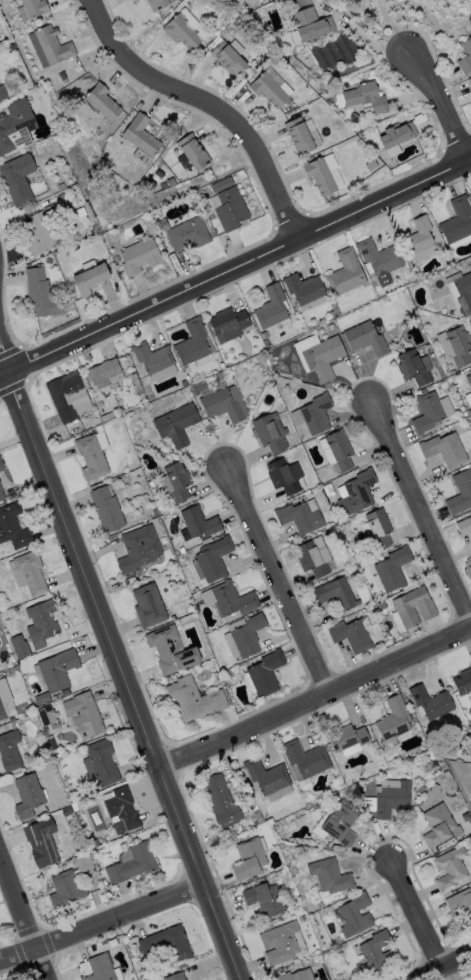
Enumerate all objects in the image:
building: (180, 0)
building: (157, 4)
building: (35, 7)
building: (238, 22)
building: (311, 25)
building: (182, 32)
building: (53, 45)
building: (10, 47)
building: (465, 57)
building: (229, 59)
building: (61, 77)
building: (277, 80)
building: (269, 90)
building: (470, 90)
building: (2, 93)
building: (366, 97)
road: (436, 99)
building: (102, 101)
road: (210, 103)
building: (16, 127)
building: (355, 128)
building: (361, 134)
building: (397, 134)
building: (141, 135)
building: (299, 136)
building: (193, 152)
building: (371, 165)
building: (241, 172)
building: (320, 176)
building: (17, 179)
building: (171, 182)
building: (222, 184)
building: (163, 185)
building: (62, 186)
building: (470, 191)
building: (231, 209)
building: (457, 221)
building: (42, 234)
building: (188, 235)
building: (418, 236)
building: (459, 241)
building: (139, 256)
building: (380, 257)
building: (115, 258)
building: (49, 260)
road: (240, 263)
building: (346, 273)
building: (90, 279)
building: (304, 288)
building: (464, 293)
building: (42, 294)
building: (271, 308)
building: (451, 313)
building: (334, 314)
building: (229, 323)
building: (331, 326)
building: (403, 326)
building: (264, 335)
building: (366, 338)
building: (193, 342)
building: (266, 343)
building: (459, 345)
road: (5, 357)
building: (152, 357)
building: (323, 358)
building: (223, 367)
building: (415, 367)
building: (104, 373)
road: (5, 374)
building: (134, 379)
building: (469, 379)
building: (198, 387)
building: (67, 395)
building: (222, 406)
building: (469, 412)
building: (428, 413)
building: (316, 414)
building: (105, 418)
building: (470, 419)
building: (176, 424)
building: (99, 428)
building: (271, 433)
building: (100, 439)
building: (340, 450)
building: (444, 450)
building: (91, 458)
building: (1, 466)
building: (285, 476)
building: (178, 481)
building: (315, 481)
building: (328, 490)
building: (461, 492)
building: (357, 493)
building: (1, 495)
building: (107, 509)
road: (423, 509)
building: (300, 517)
building: (199, 523)
building: (464, 526)
building: (13, 527)
building: (379, 528)
building: (139, 548)
building: (214, 559)
building: (311, 559)
building: (470, 562)
building: (393, 568)
building: (31, 572)
road: (282, 579)
building: (196, 589)
building: (336, 593)
building: (233, 599)
building: (149, 605)
building: (382, 606)
building: (414, 607)
building: (4, 615)
building: (42, 621)
building: (248, 635)
building: (351, 635)
building: (20, 646)
building: (170, 651)
building: (58, 670)
building: (266, 673)
road: (127, 676)
building: (463, 682)
building: (42, 698)
building: (55, 698)
road: (316, 698)
building: (194, 699)
building: (431, 702)
building: (2, 711)
building: (84, 715)
building: (361, 716)
building: (48, 717)
building: (11, 719)
building: (394, 719)
building: (45, 731)
building: (348, 738)
building: (463, 738)
building: (51, 742)
building: (373, 744)
building: (10, 751)
building: (306, 758)
building: (103, 762)
building: (446, 773)
building: (266, 776)
building: (421, 789)
building: (434, 789)
building: (28, 795)
building: (352, 795)
building: (392, 799)
building: (222, 802)
building: (122, 808)
building: (67, 812)
building: (258, 817)
building: (342, 823)
building: (438, 825)
building: (242, 827)
building: (42, 842)
building: (123, 847)
building: (249, 859)
building: (84, 863)
building: (133, 864)
building: (450, 868)
building: (330, 876)
building: (66, 889)
building: (265, 899)
building: (461, 903)
road: (417, 913)
building: (355, 915)
road: (25, 916)
road: (103, 921)
building: (167, 943)
building: (280, 943)
building: (376, 953)
building: (184, 962)
road: (440, 964)
building: (176, 965)
building: (100, 968)
building: (176, 976)
building: (293, 976)

